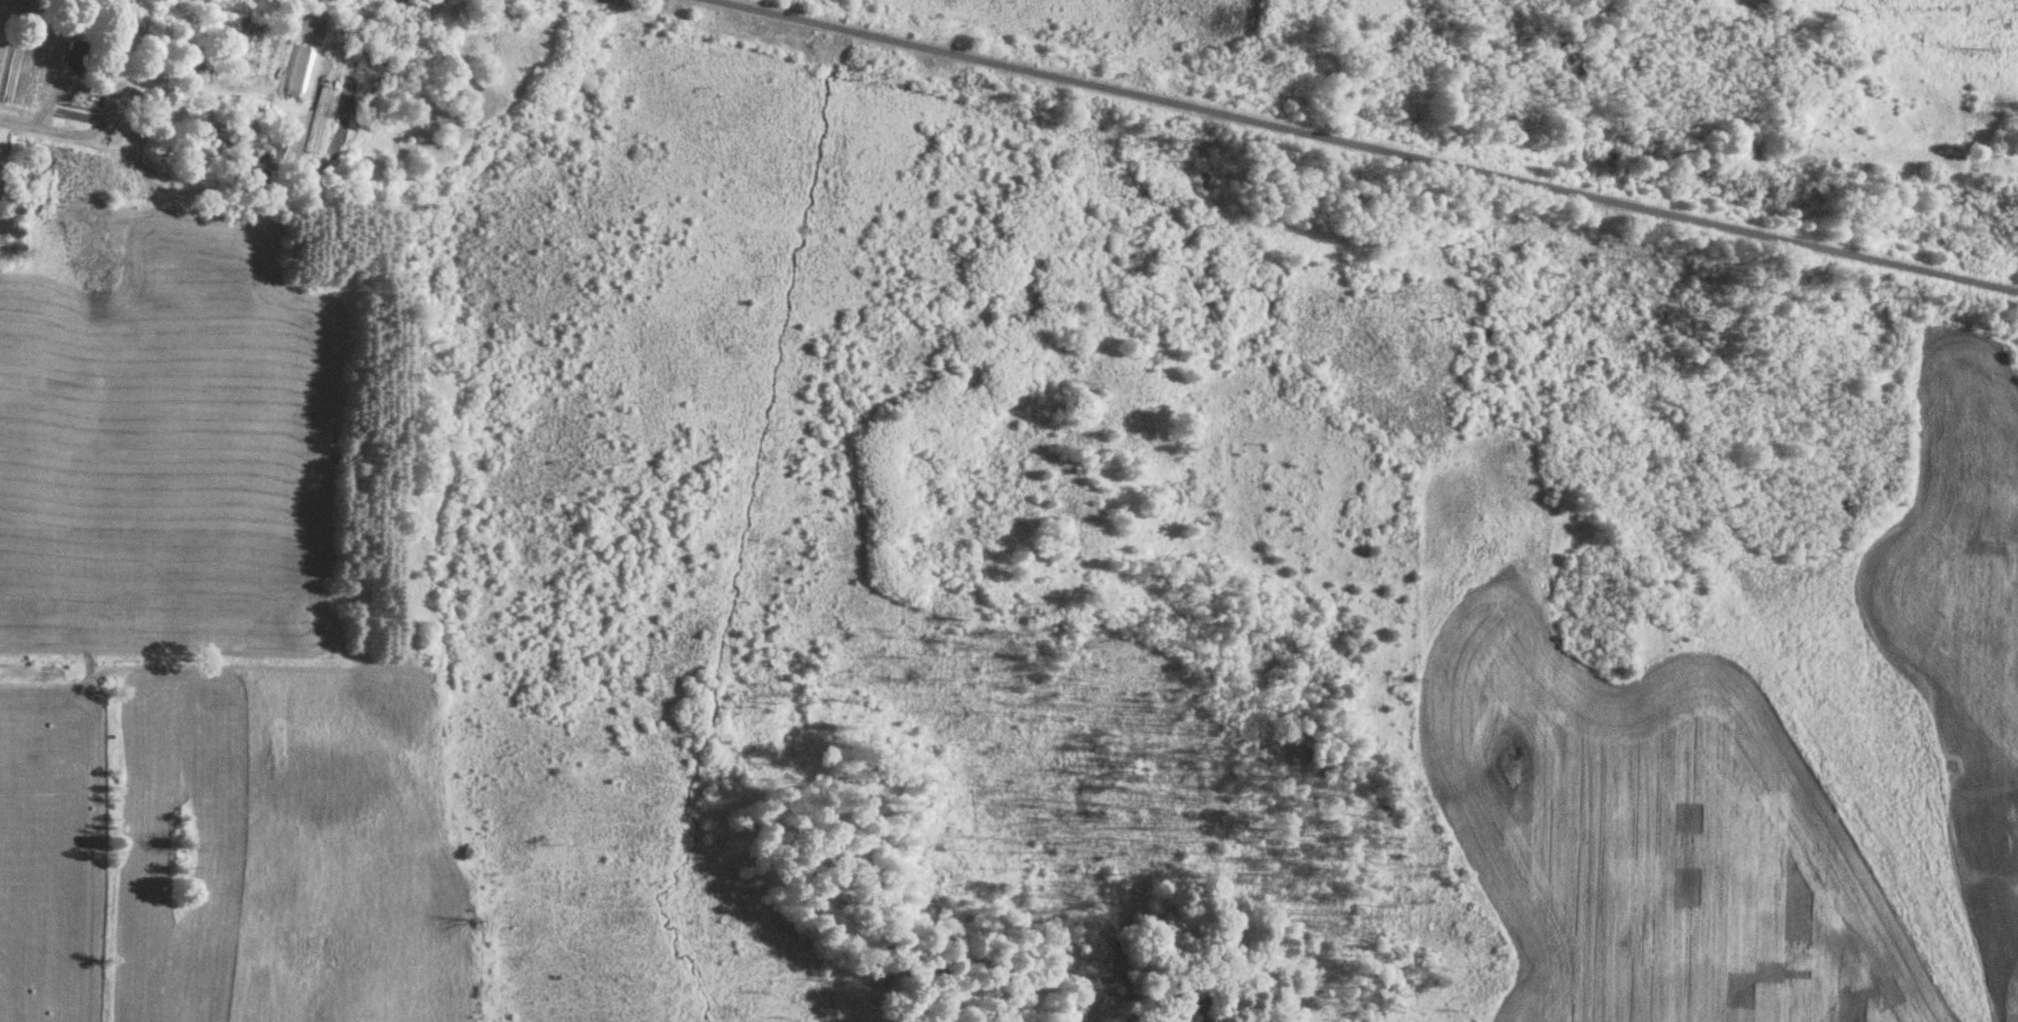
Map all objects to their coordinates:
building: (70, 55)
road: (1362, 145)

